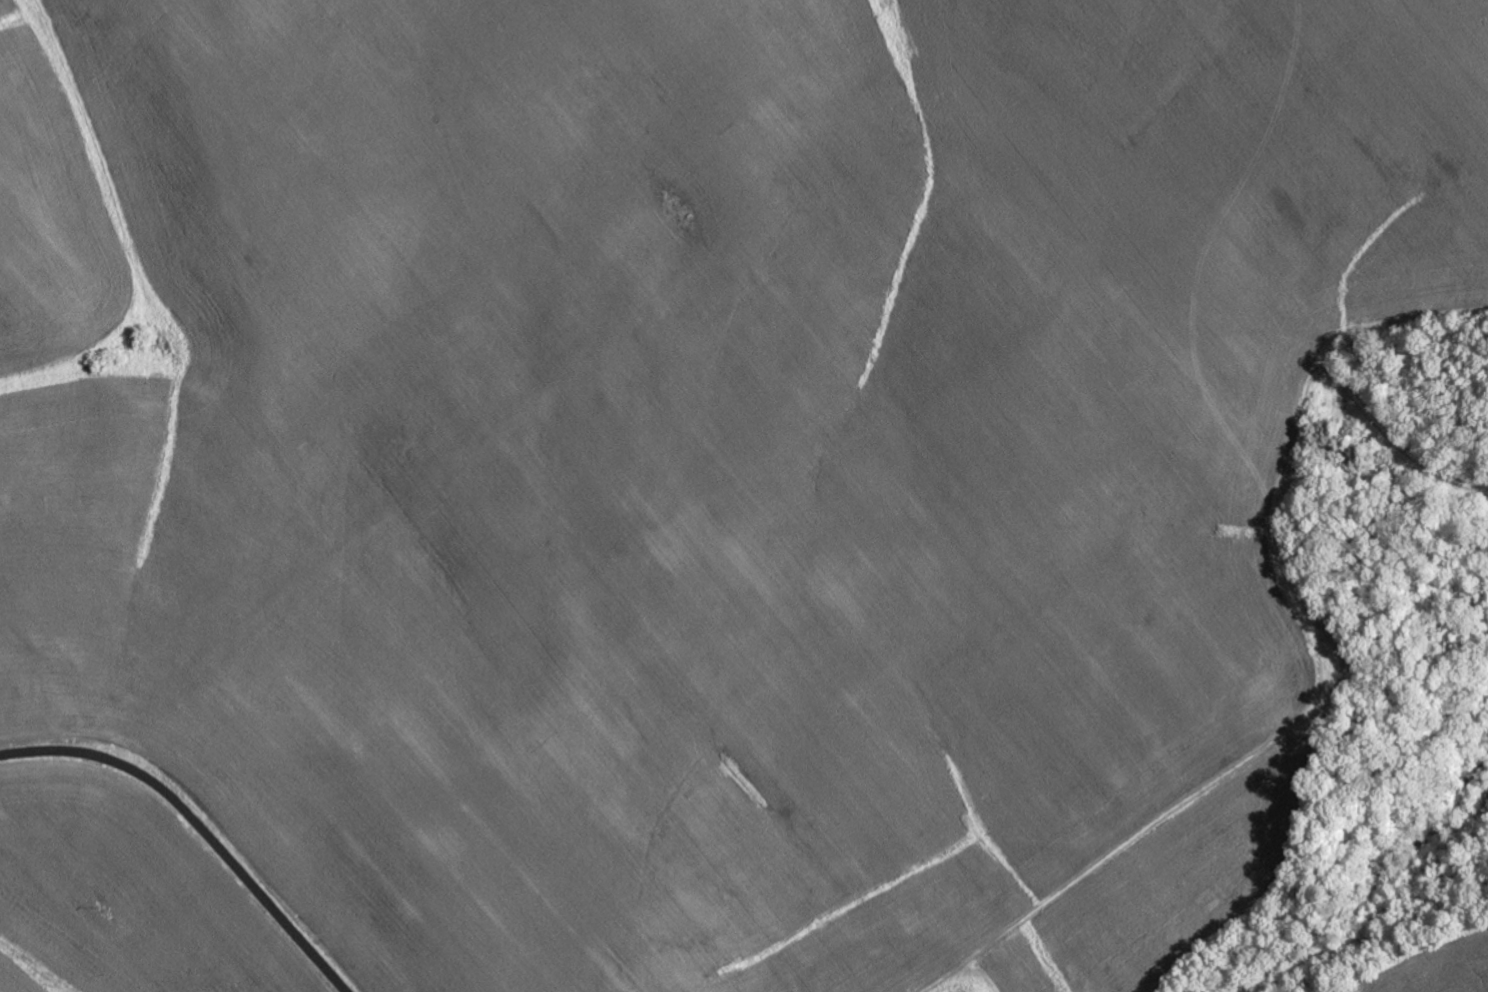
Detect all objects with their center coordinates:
road: (196, 827)

